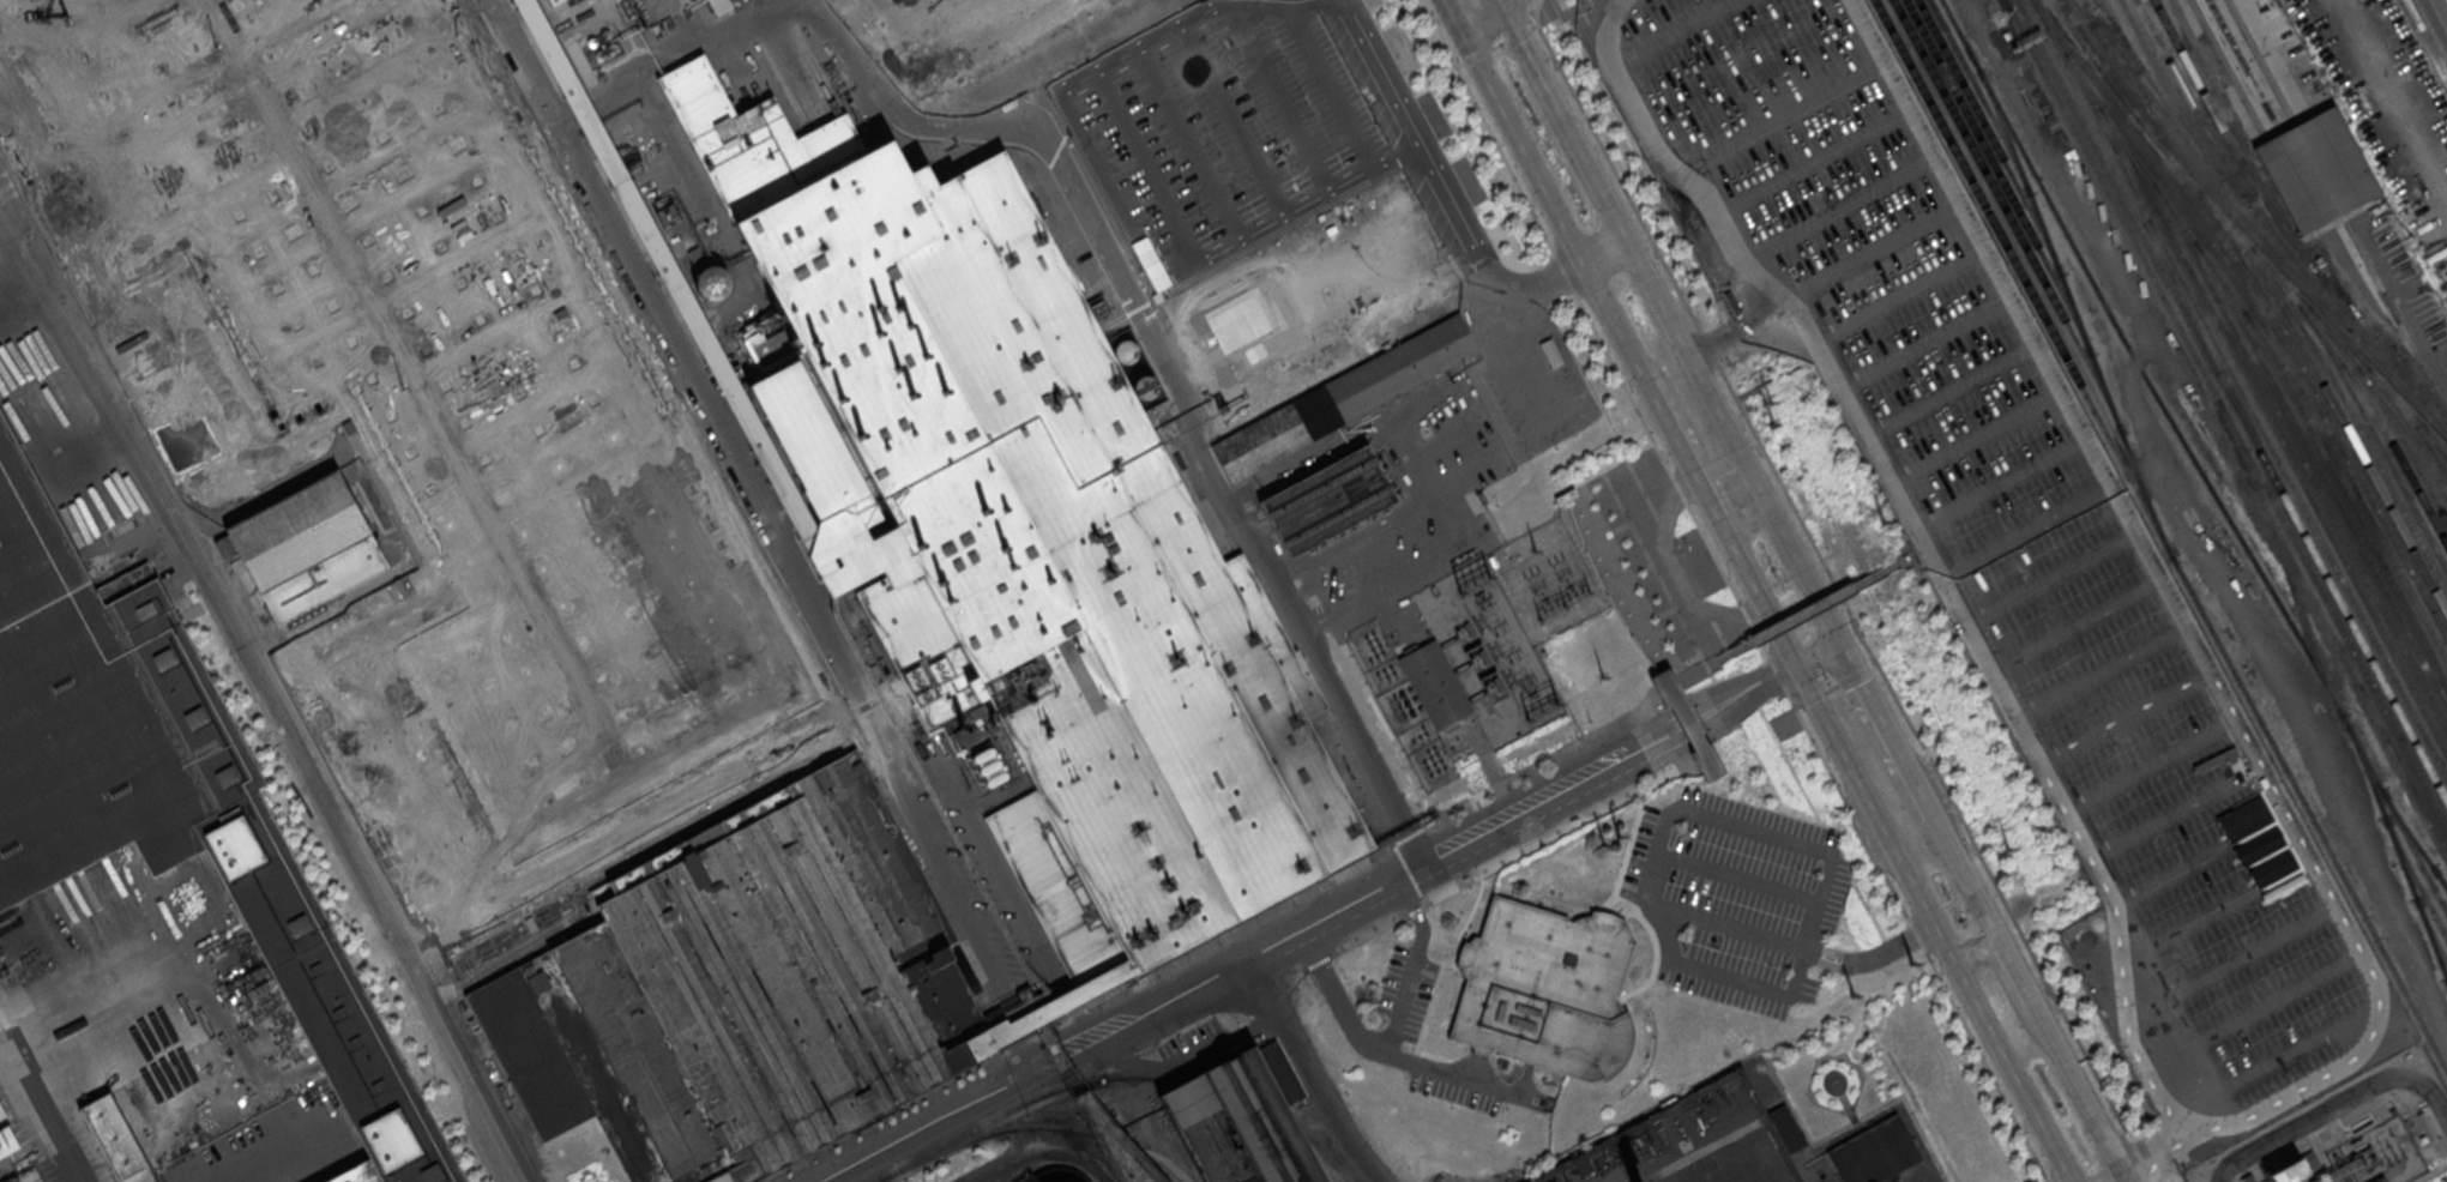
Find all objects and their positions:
building: (550, 1)
road: (1458, 1)
road: (1461, 1)
road: (833, 4)
traffic signals: (1459, 4)
road: (1525, 5)
railway: (2006, 5)
road: (1532, 11)
road: (2437, 16)
road: (1533, 28)
building: (960, 30)
road: (1519, 34)
railway: (2122, 34)
railway: (2077, 35)
road: (1500, 43)
road: (1477, 55)
road: (667, 59)
road: (1043, 61)
railway: (2261, 62)
road: (1460, 65)
railway: (2228, 70)
railway: (2166, 90)
railway: (1981, 96)
road: (1906, 105)
railway: (2202, 123)
railway: (1989, 137)
parking lot: (1767, 138)
road: (1362, 144)
road: (1312, 156)
road: (1658, 156)
road: (1255, 157)
building: (1253, 158)
railway: (2238, 161)
road: (1802, 168)
building: (2316, 169)
parking lot: (1262, 173)
road: (1207, 176)
railway: (1999, 176)
road: (1164, 200)
road: (1827, 216)
railway: (2008, 216)
road: (1133, 217)
railway: (2255, 225)
road: (1907, 240)
road: (1470, 248)
road: (13, 283)
road: (1544, 283)
building: (681, 297)
railway: (2182, 297)
railway: (2302, 298)
road: (2399, 302)
road: (1605, 307)
railway: (2265, 307)
railway: (2393, 310)
road: (1771, 312)
railway: (2074, 312)
railway: (2379, 319)
road: (1671, 320)
railway: (2371, 336)
road: (1928, 340)
railway: (2270, 348)
road: (1520, 350)
building: (1550, 351)
building: (438, 368)
road: (1174, 374)
railway: (2334, 385)
railway: (2359, 388)
railway: (2238, 390)
road: (1951, 391)
railway: (2382, 399)
building: (1344, 400)
railway: (2231, 402)
railway: (2224, 414)
railway: (2409, 416)
railway: (2273, 429)
railway: (2347, 433)
railway: (2375, 436)
railway: (2435, 436)
road: (1976, 439)
road: (1696, 444)
railway: (2404, 444)
railway: (2433, 453)
railway: (2300, 454)
railway: (2192, 457)
railway: (2322, 475)
building: (95, 478)
road: (2001, 486)
railway: (2346, 496)
building: (1328, 500)
road: (1572, 509)
road: (1460, 514)
road: (773, 531)
road: (2025, 531)
building: (1025, 536)
railway: (2159, 536)
flagpole: (1677, 543)
flagpole: (1687, 545)
building: (305, 548)
flagpole: (1682, 553)
railway: (2283, 557)
parking lot: (1380, 559)
road: (1905, 560)
road: (1675, 571)
road: (2050, 580)
road: (1734, 591)
road: (1839, 592)
road: (1803, 615)
road: (2074, 623)
power substation: (1511, 626)
road: (1778, 638)
traffic signals: (1838, 645)
road: (1816, 656)
traffic signals: (1795, 668)
road: (2099, 673)
road: (1782, 674)
road: (1860, 675)
building: (1436, 686)
road: (1735, 689)
road: (1833, 689)
road: (272, 701)
road: (1810, 701)
road: (1742, 705)
parking lot: (2110, 707)
road: (1678, 708)
road: (2124, 719)
building: (1686, 725)
road: (1882, 731)
road: (1391, 734)
road: (1693, 740)
road: (1629, 746)
road: (1637, 760)
road: (2148, 764)
road: (1542, 766)
building: (168, 797)
road: (2182, 808)
road: (633, 834)
road: (1410, 837)
road: (1551, 839)
railway: (2412, 839)
road: (1807, 846)
railway: (2398, 851)
road: (2207, 857)
road: (1410, 876)
railway: (2413, 878)
railway: (2440, 878)
road: (1738, 879)
road: (1619, 898)
parking lot: (1737, 898)
road: (2220, 906)
road: (1416, 910)
road: (1337, 911)
road: (1260, 913)
road: (1615, 917)
road: (1934, 923)
road: (1729, 927)
railway: (2430, 929)
road: (1436, 934)
road: (1370, 936)
road: (1895, 948)
road: (1838, 953)
road: (2248, 957)
road: (1320, 963)
road: (1415, 963)
road: (2007, 984)
road: (1882, 985)
building: (741, 989)
building: (1544, 990)
parking lot: (1408, 991)
road: (2031, 997)
road: (2273, 1005)
building: (1043, 1009)
road: (1063, 1018)
road: (1394, 1053)
road: (1062, 1057)
road: (1815, 1062)
road: (1485, 1067)
road: (1309, 1073)
road: (1861, 1081)
fountain: (1834, 1083)
road: (2207, 1087)
railway: (1243, 1098)
railway: (1023, 1102)
road: (2254, 1104)
road: (2331, 1105)
road: (38, 1106)
building: (1, 1111)
road: (879, 1117)
road: (936, 1122)
building: (1237, 1126)
building: (1785, 1126)
power plant: (2349, 1133)
railway: (981, 1138)
building: (115, 1140)
railway: (1116, 1142)
railway: (1101, 1146)
railway: (1330, 1152)
building: (1873, 1152)
railway: (1129, 1154)
road: (1014, 1163)
railway: (1163, 1166)
building: (2289, 1170)
building: (28, 1175)
building: (1056, 1175)
building: (2252, 1176)
building: (2377, 1180)
building: (1554, 1181)

